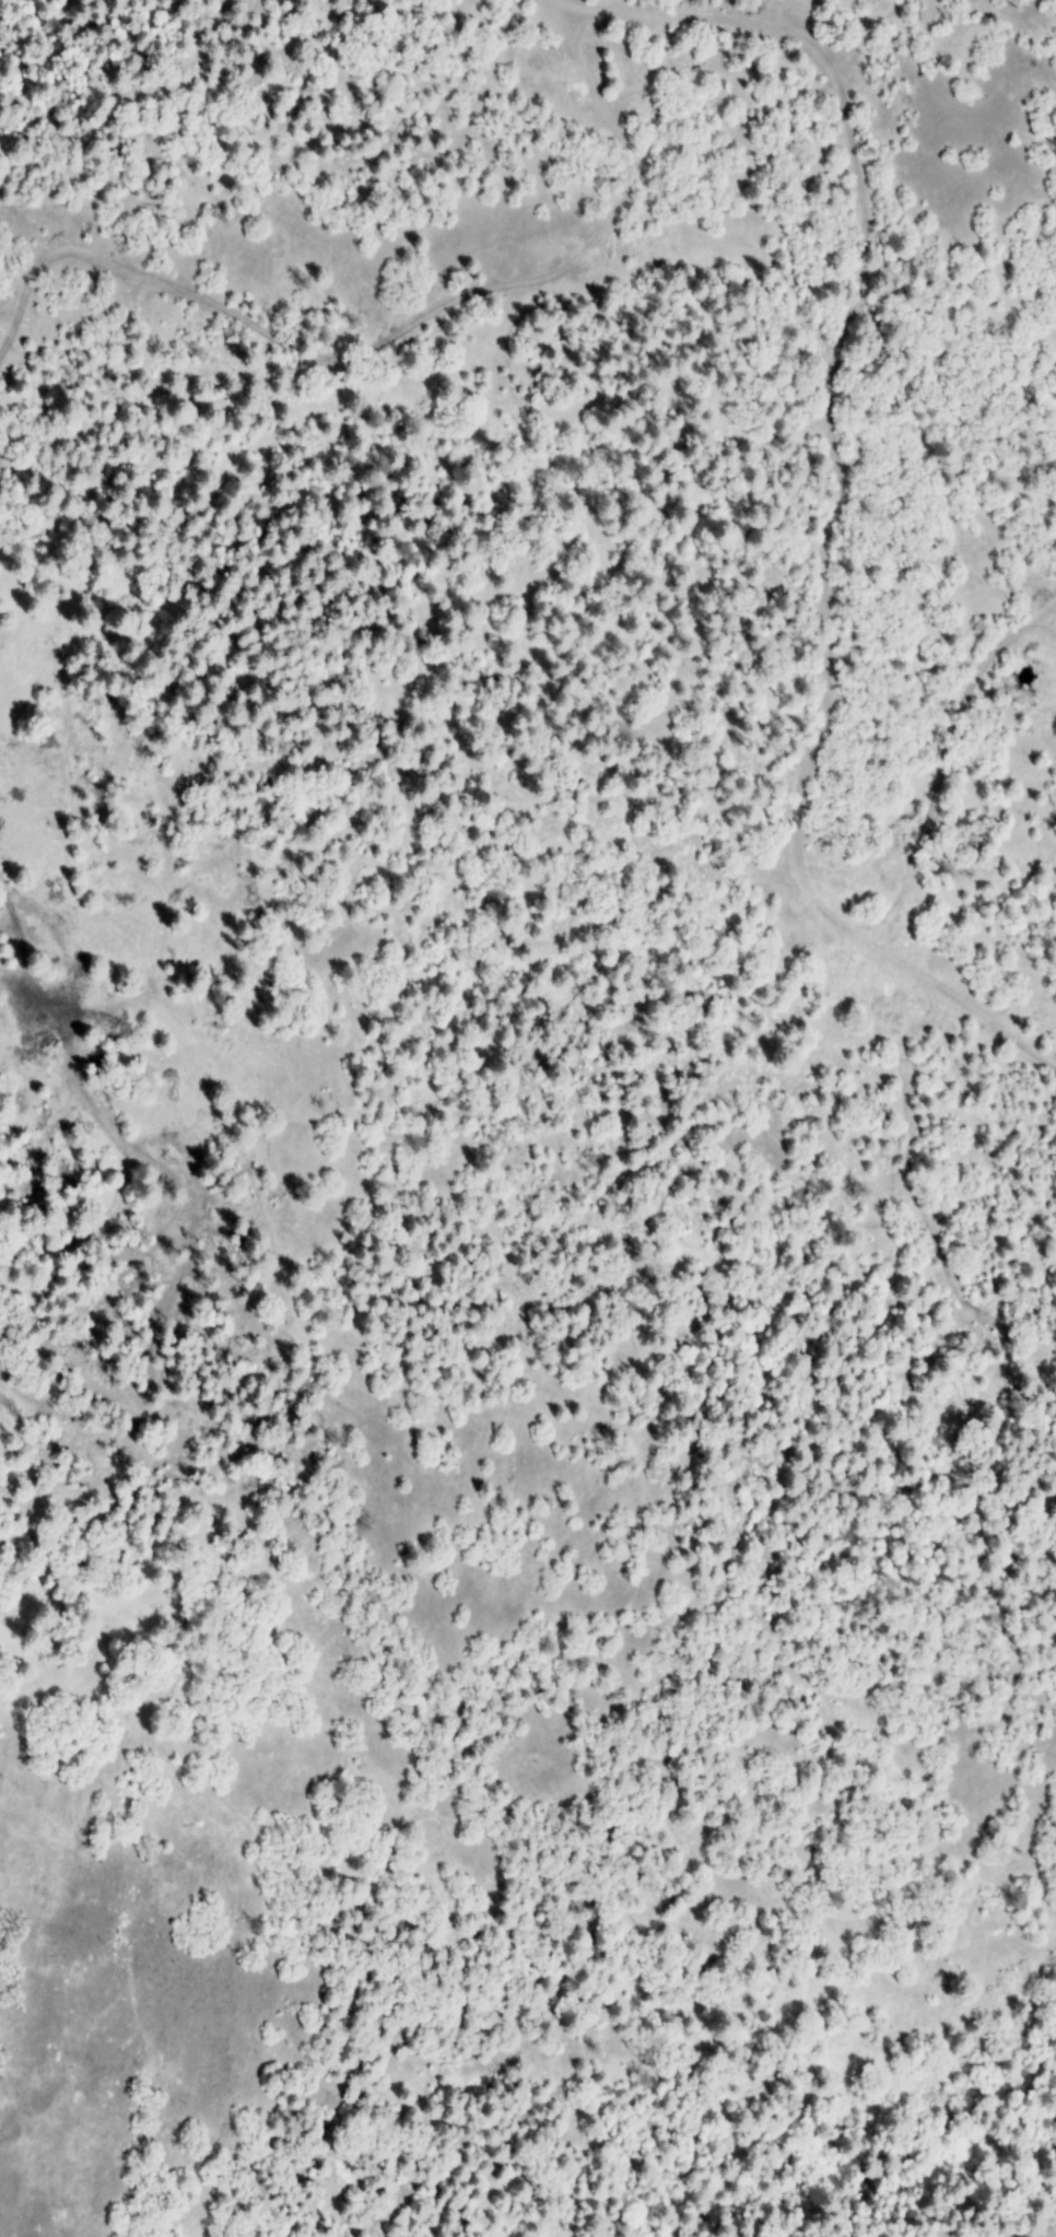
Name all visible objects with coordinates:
road: (1020, 2222)

